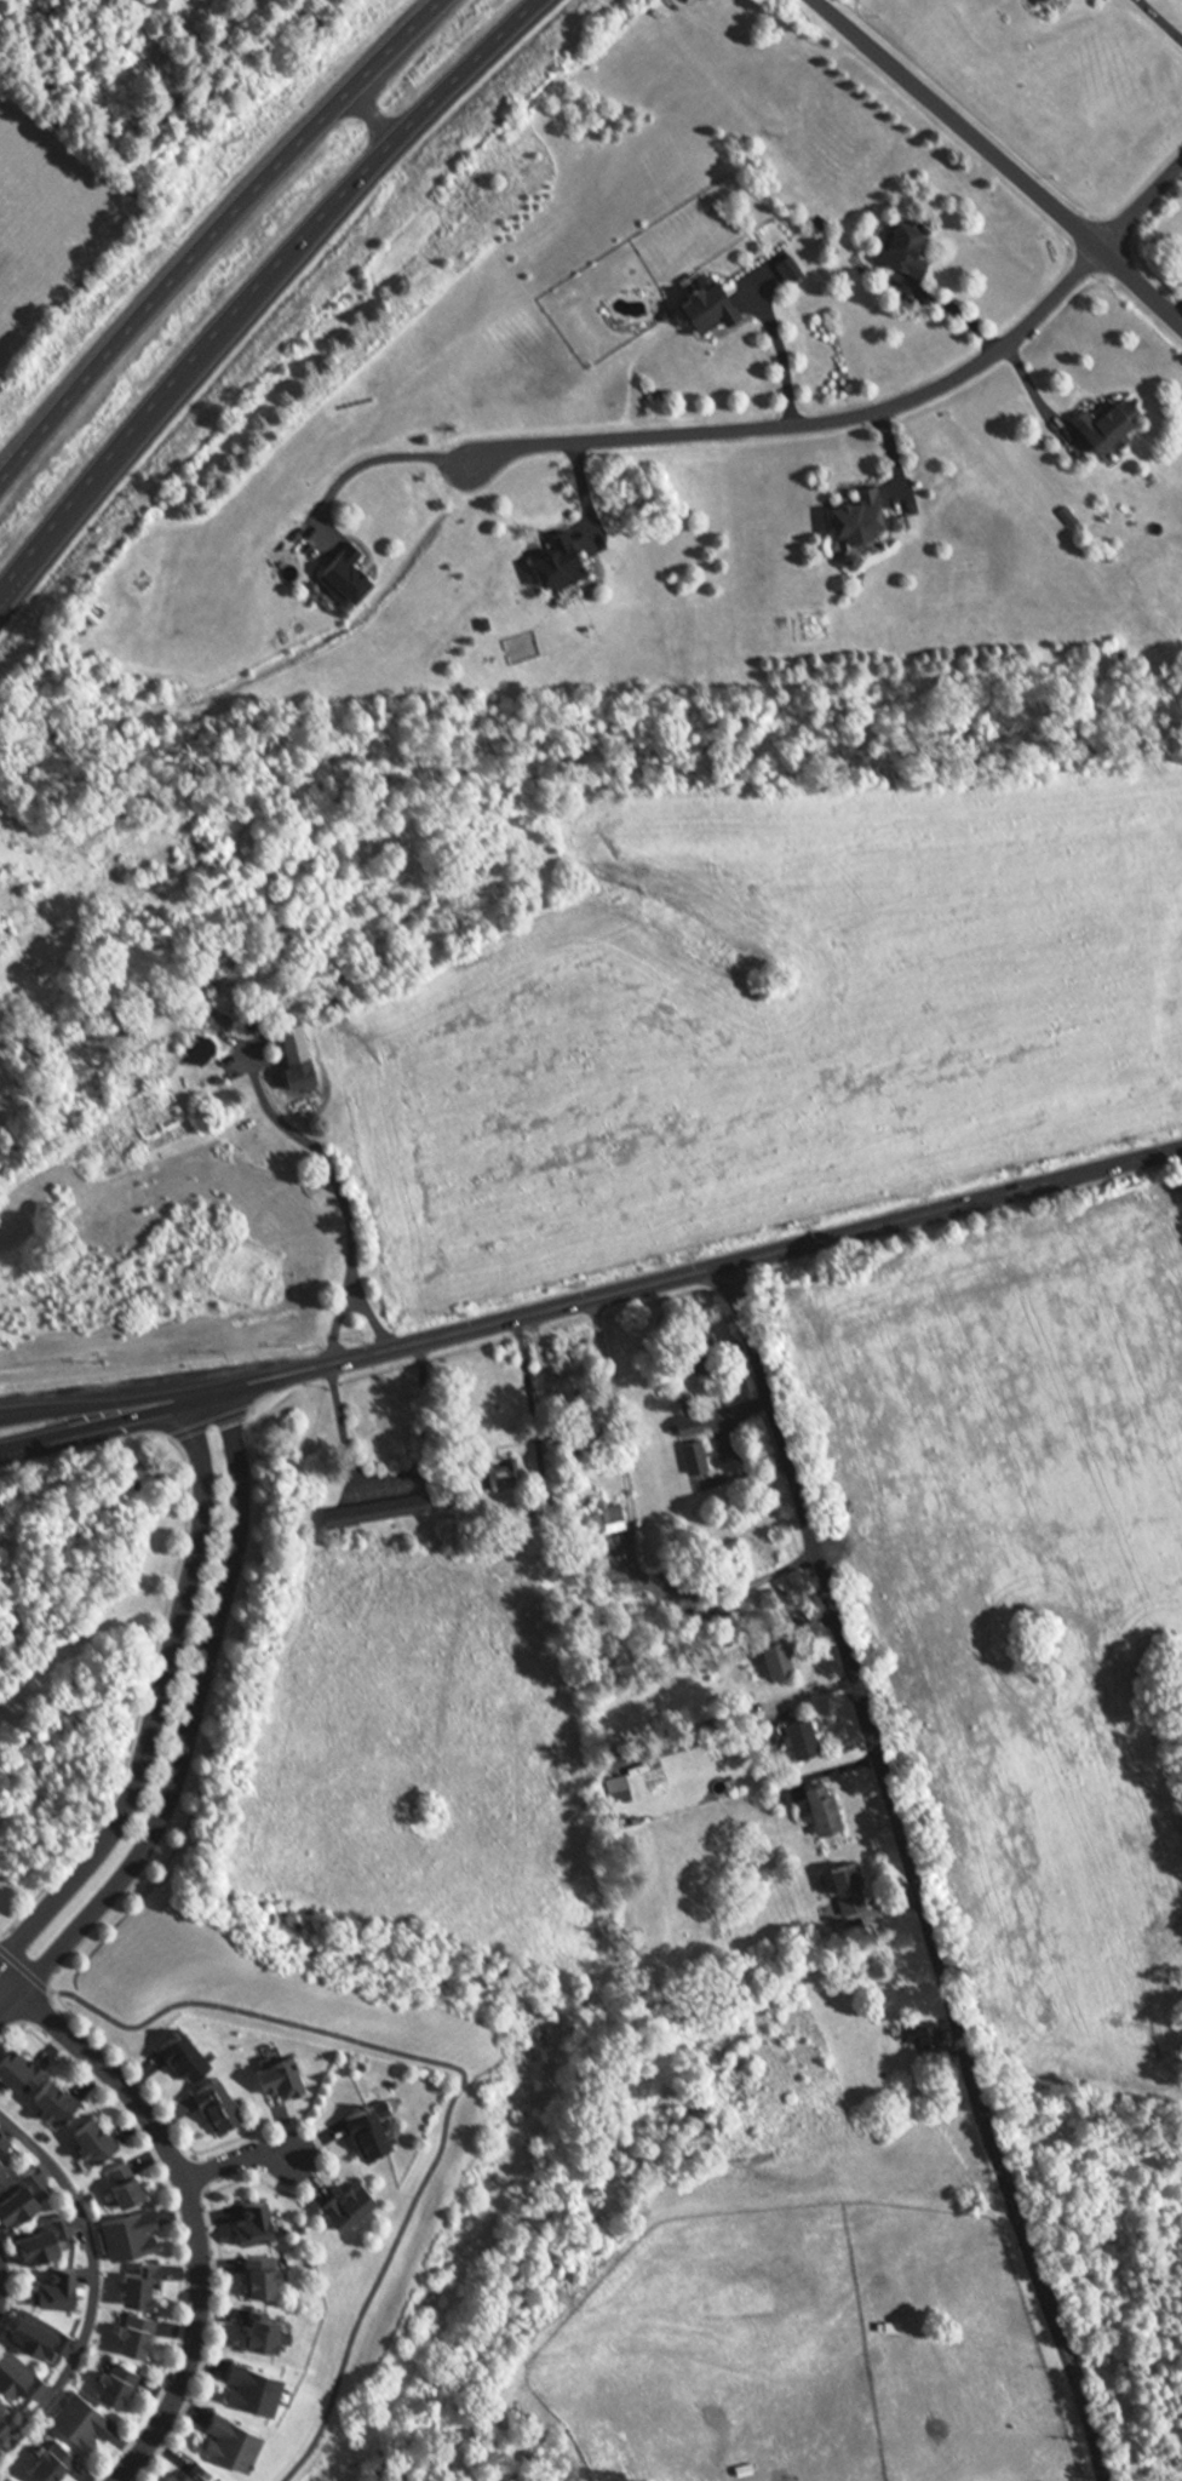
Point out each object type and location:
building: (1058, 1)
building: (1043, 2)
road: (1159, 21)
road: (377, 111)
road: (1002, 161)
road: (1140, 207)
road: (212, 235)
building: (919, 248)
building: (799, 273)
road: (260, 290)
road: (949, 308)
building: (723, 311)
road: (1176, 313)
road: (790, 360)
road: (1034, 395)
road: (805, 423)
building: (1108, 424)
road: (369, 459)
building: (874, 520)
building: (573, 565)
building: (358, 578)
building: (240, 959)
building: (116, 1019)
crop: (778, 1024)
building: (295, 1055)
road: (312, 1133)
road: (684, 1277)
road: (350, 1302)
building: (711, 1354)
road: (92, 1410)
road: (533, 1416)
building: (701, 1416)
road: (92, 1426)
building: (705, 1459)
building: (511, 1474)
road: (394, 1479)
building: (388, 1511)
building: (621, 1515)
road: (631, 1537)
crop: (1026, 1597)
building: (790, 1661)
road: (134, 1685)
road: (155, 1701)
road: (739, 1724)
road: (189, 1735)
building: (814, 1740)
building: (837, 1811)
road: (919, 1874)
building: (861, 1890)
road: (2, 1952)
road: (57, 1992)
building: (936, 2035)
building: (183, 2051)
building: (18, 2063)
building: (282, 2074)
building: (59, 2099)
building: (216, 2103)
road: (443, 2118)
building: (368, 2128)
building: (5, 2138)
building: (97, 2138)
road: (235, 2156)
building: (4, 2161)
building: (126, 2179)
building: (19, 2195)
building: (350, 2200)
road: (187, 2201)
building: (253, 2219)
building: (130, 2230)
building: (45, 2236)
park: (1131, 2257)
building: (263, 2271)
road: (5, 2277)
park: (1, 2279)
building: (59, 2282)
road: (91, 2282)
building: (142, 2282)
building: (264, 2326)
building: (40, 2328)
building: (138, 2328)
building: (19, 2368)
building: (119, 2380)
building: (254, 2383)
building: (4, 2396)
building: (84, 2414)
building: (5, 2419)
building: (233, 2436)
building: (53, 2457)
building: (201, 2471)

